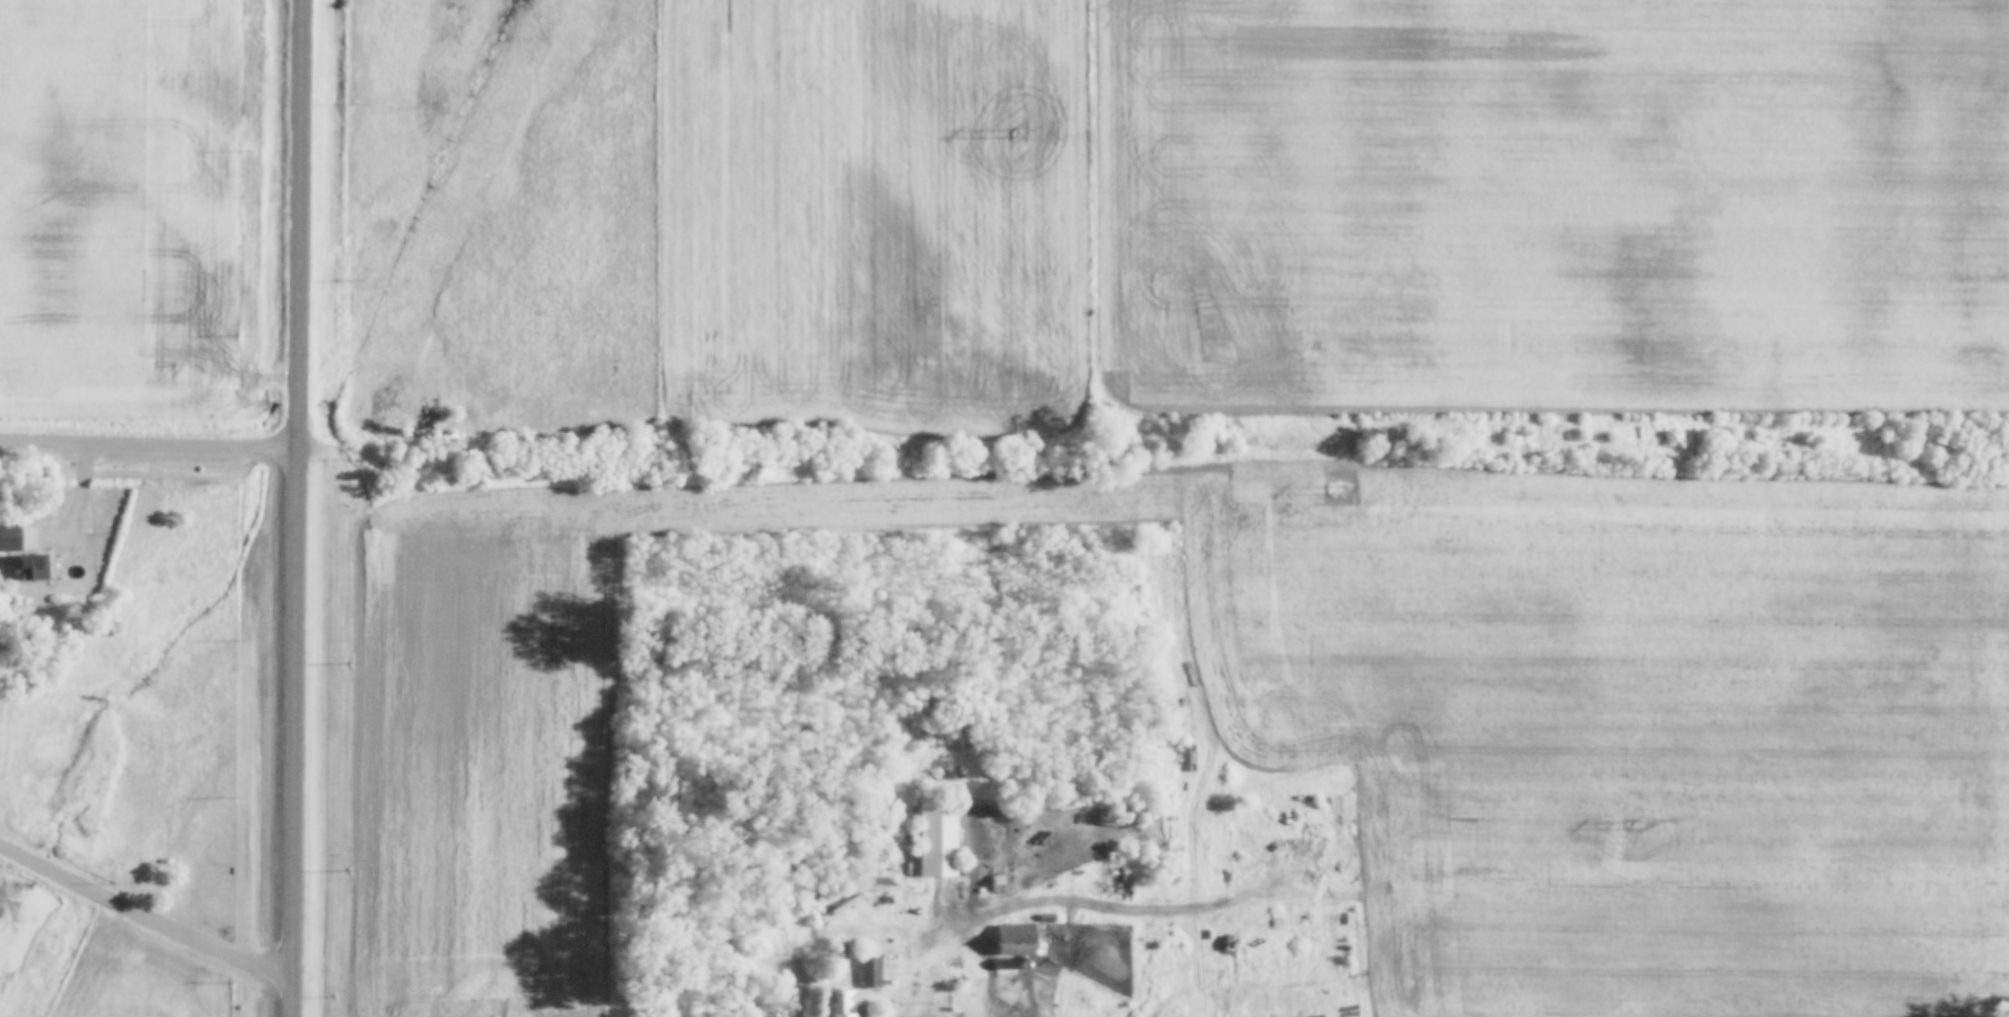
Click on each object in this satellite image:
power tower: (1016, 128)
road: (151, 447)
road: (302, 508)
building: (15, 539)
building: (31, 567)
power tower: (1634, 823)
building: (940, 838)
road: (147, 918)
road: (849, 929)
building: (1022, 939)
building: (872, 972)
road: (944, 992)
building: (849, 1003)

